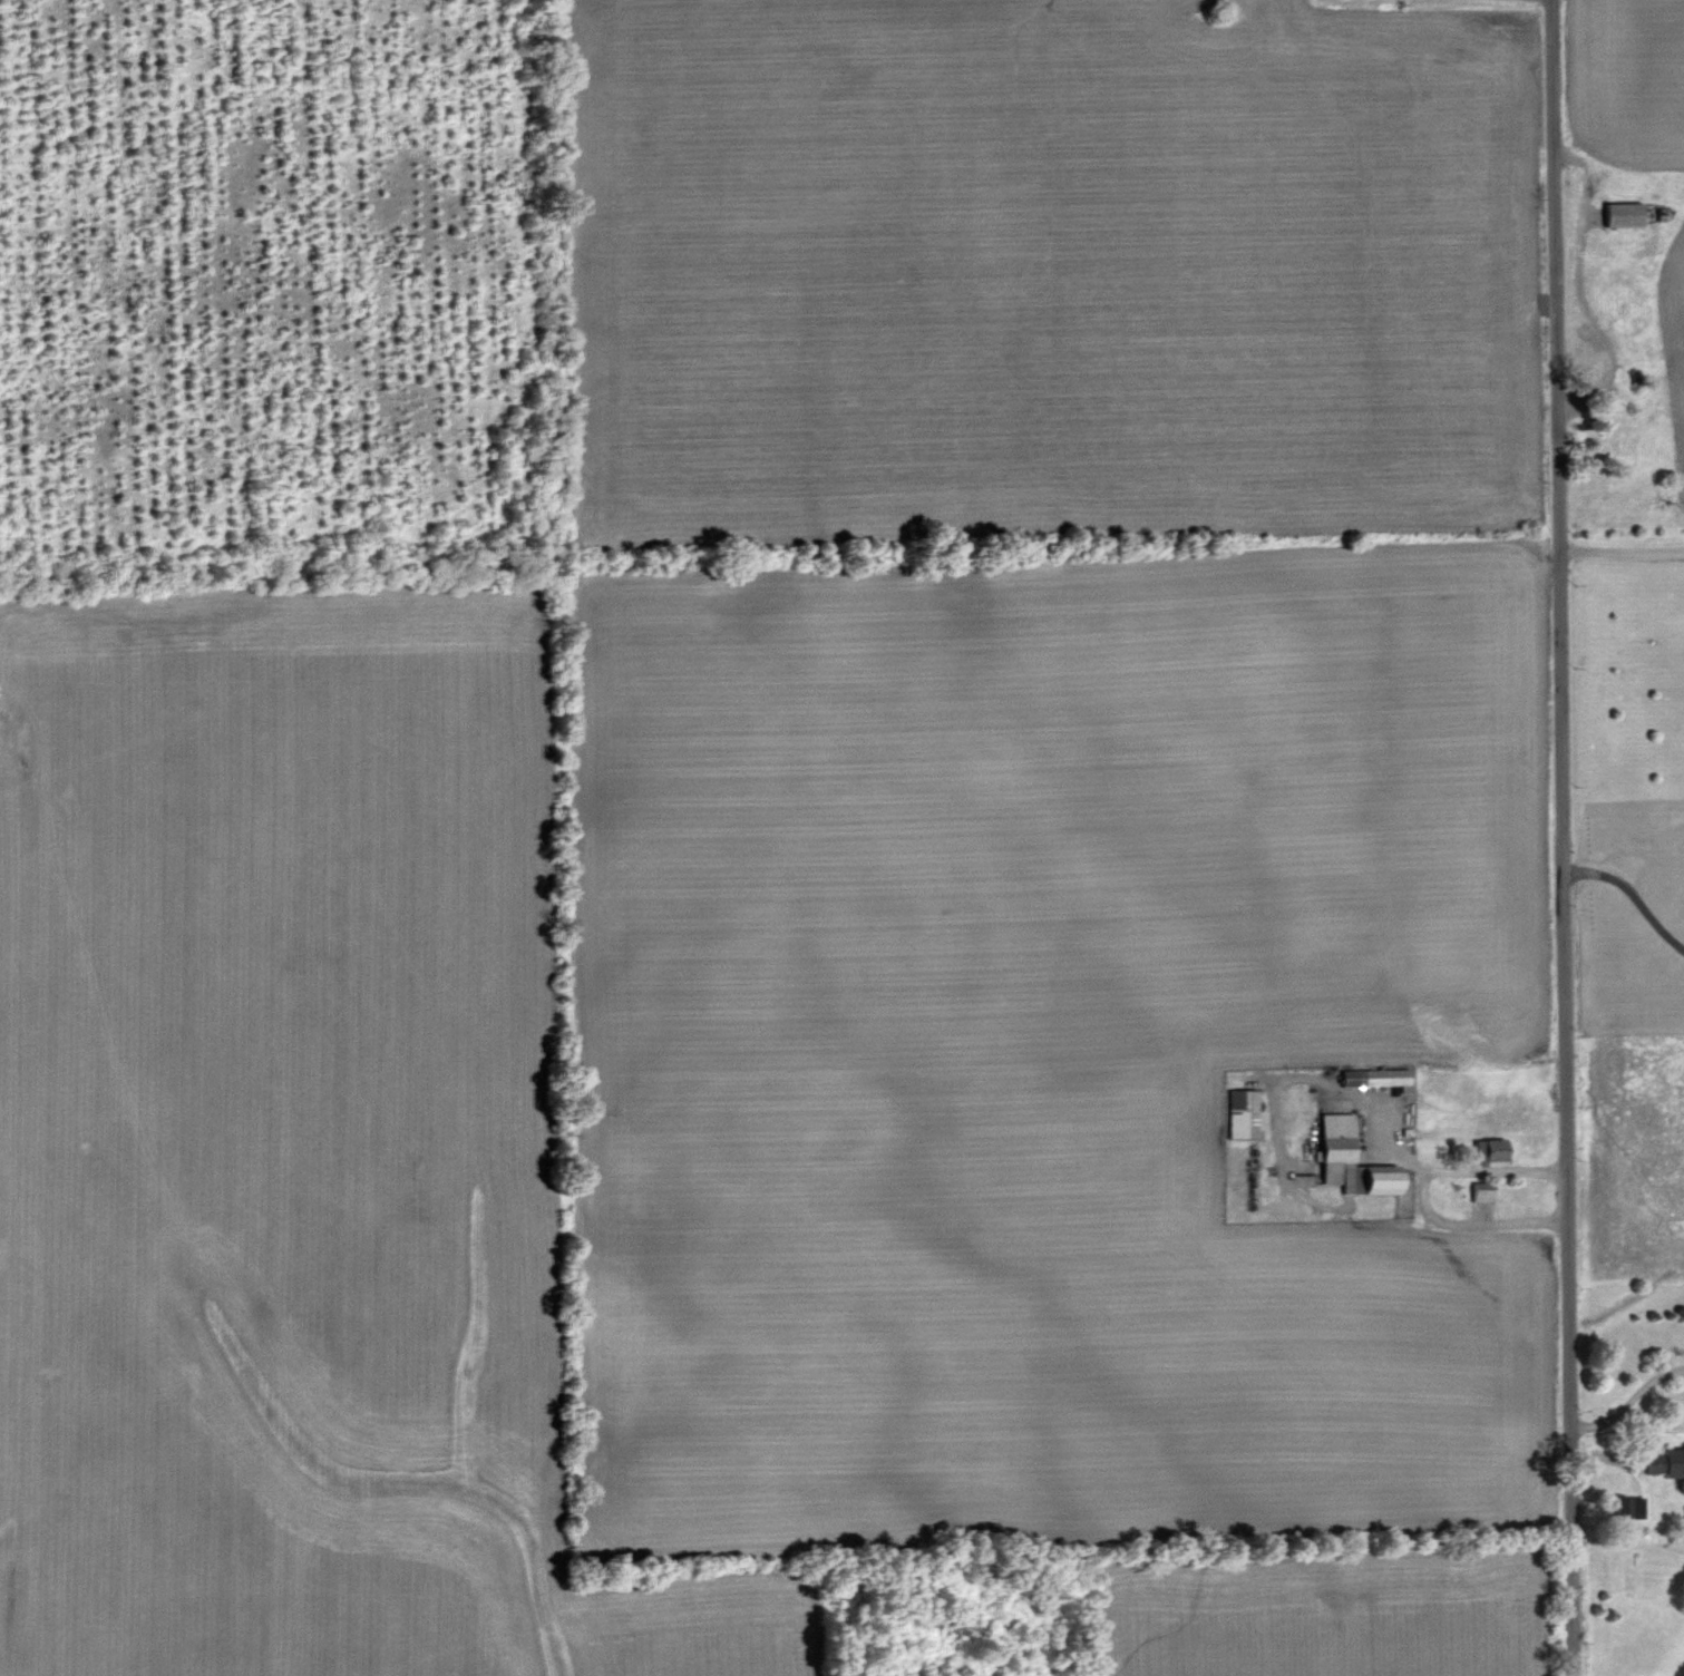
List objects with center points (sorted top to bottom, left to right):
building: (1625, 213)
road: (1619, 542)
road: (1561, 838)
road: (1633, 893)
building: (1376, 1076)
building: (1244, 1113)
building: (1493, 1149)
building: (1355, 1160)
building: (1482, 1191)
road: (1419, 1192)
road: (1627, 1401)
building: (1667, 1461)
building: (1624, 1504)

